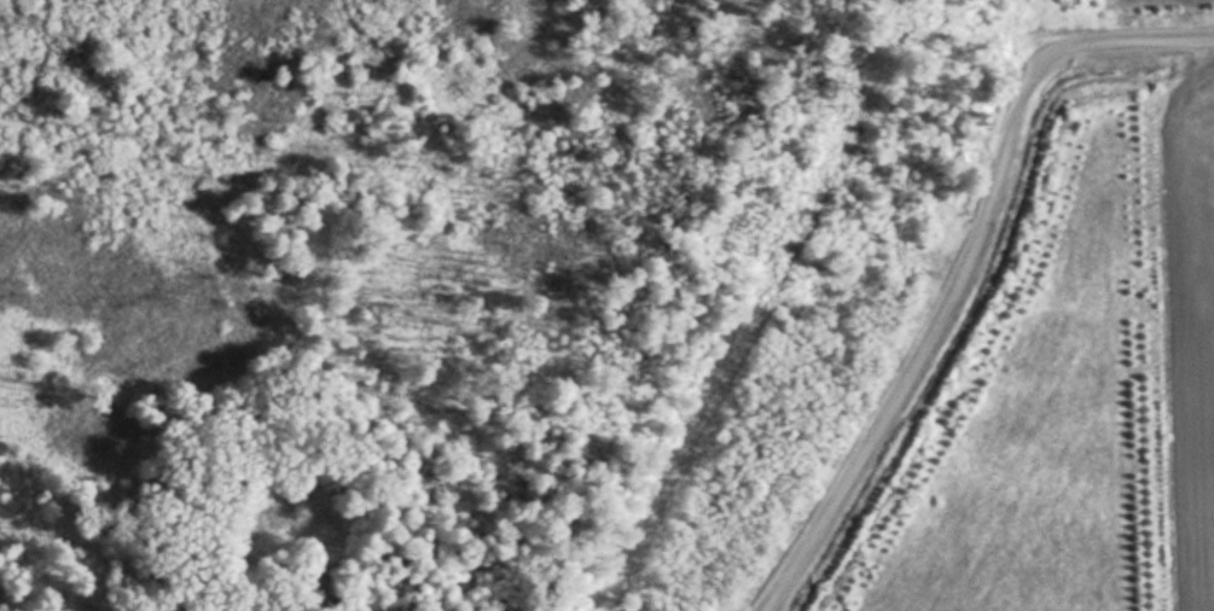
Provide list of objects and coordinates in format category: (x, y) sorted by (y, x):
road: (1133, 40)
road: (933, 342)

